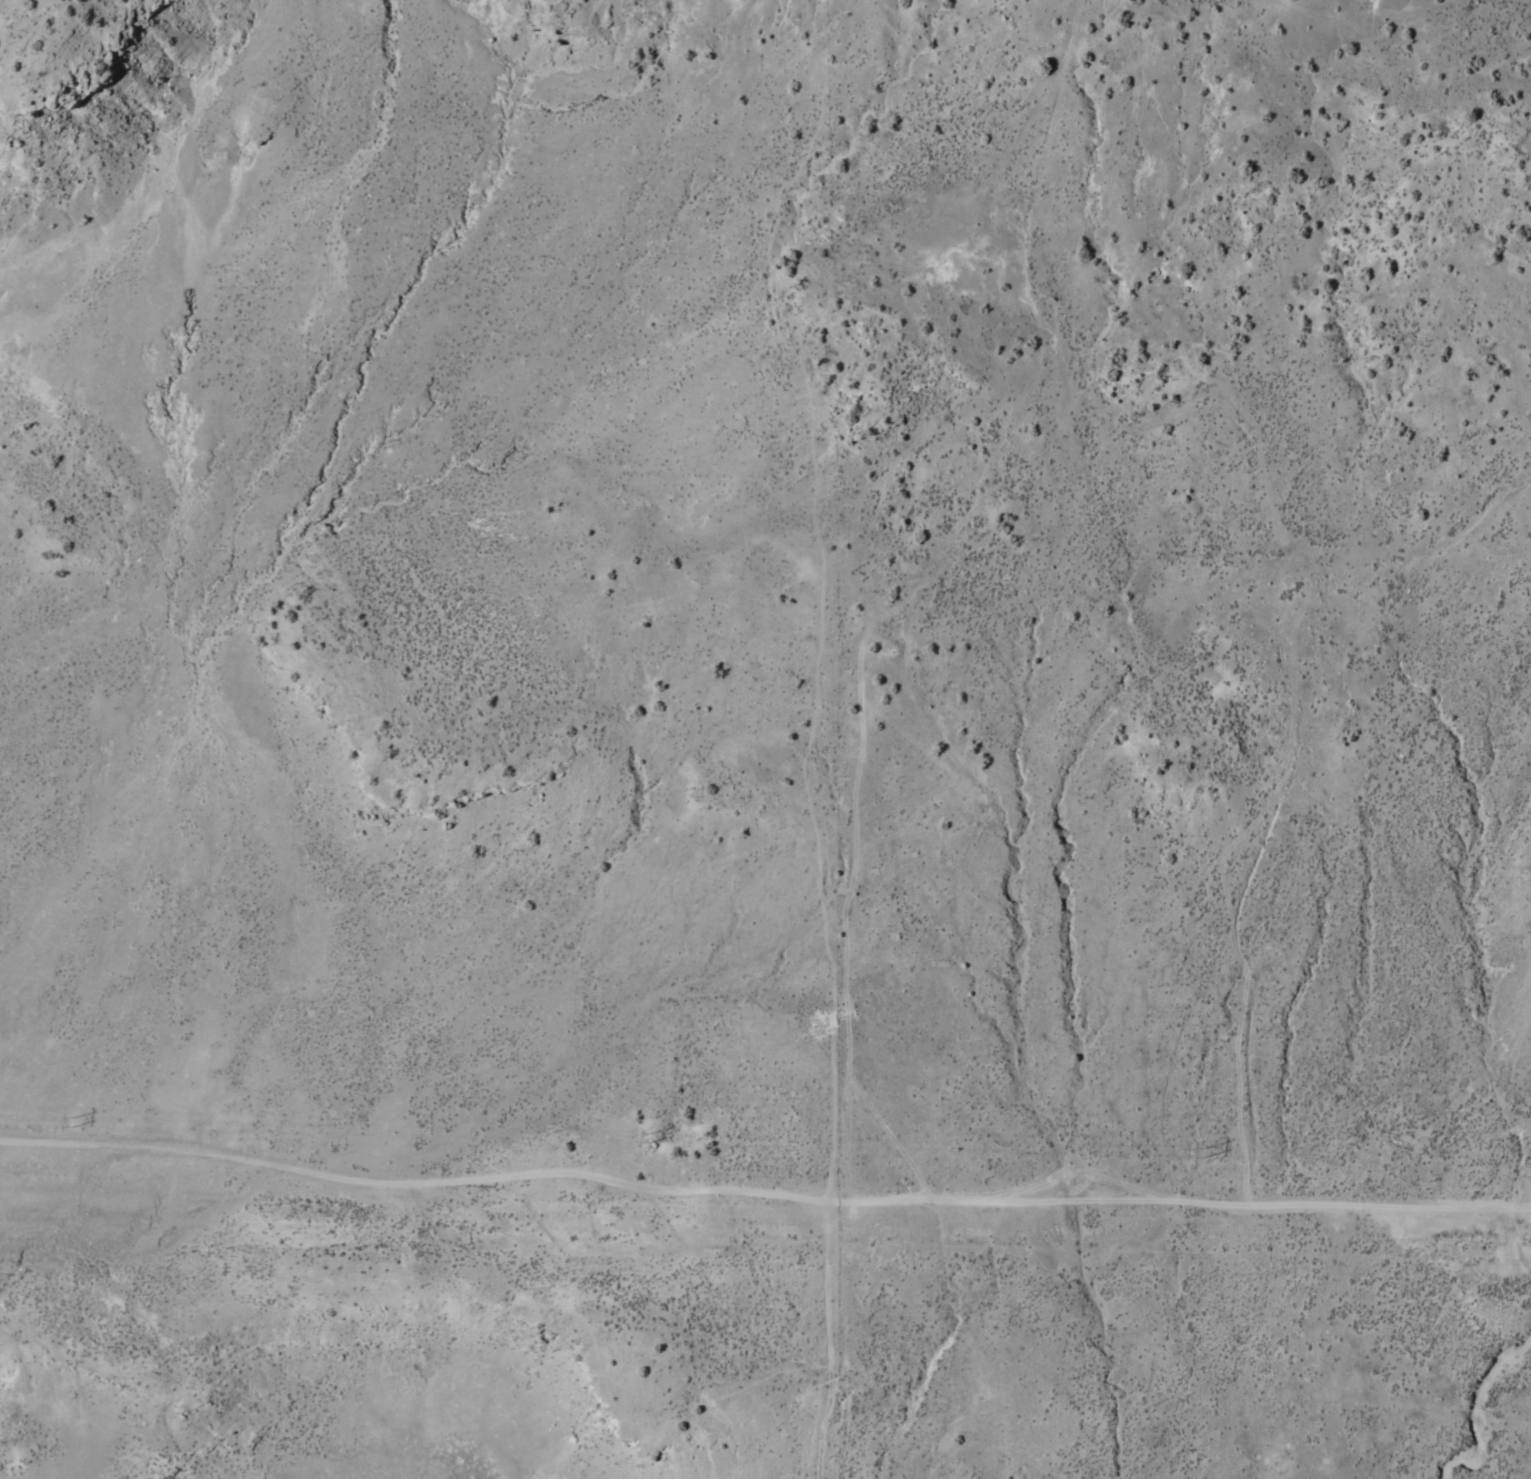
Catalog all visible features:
road: (1257, 340)
power tower: (72, 1122)
power tower: (650, 1137)
power tower: (1199, 1155)

